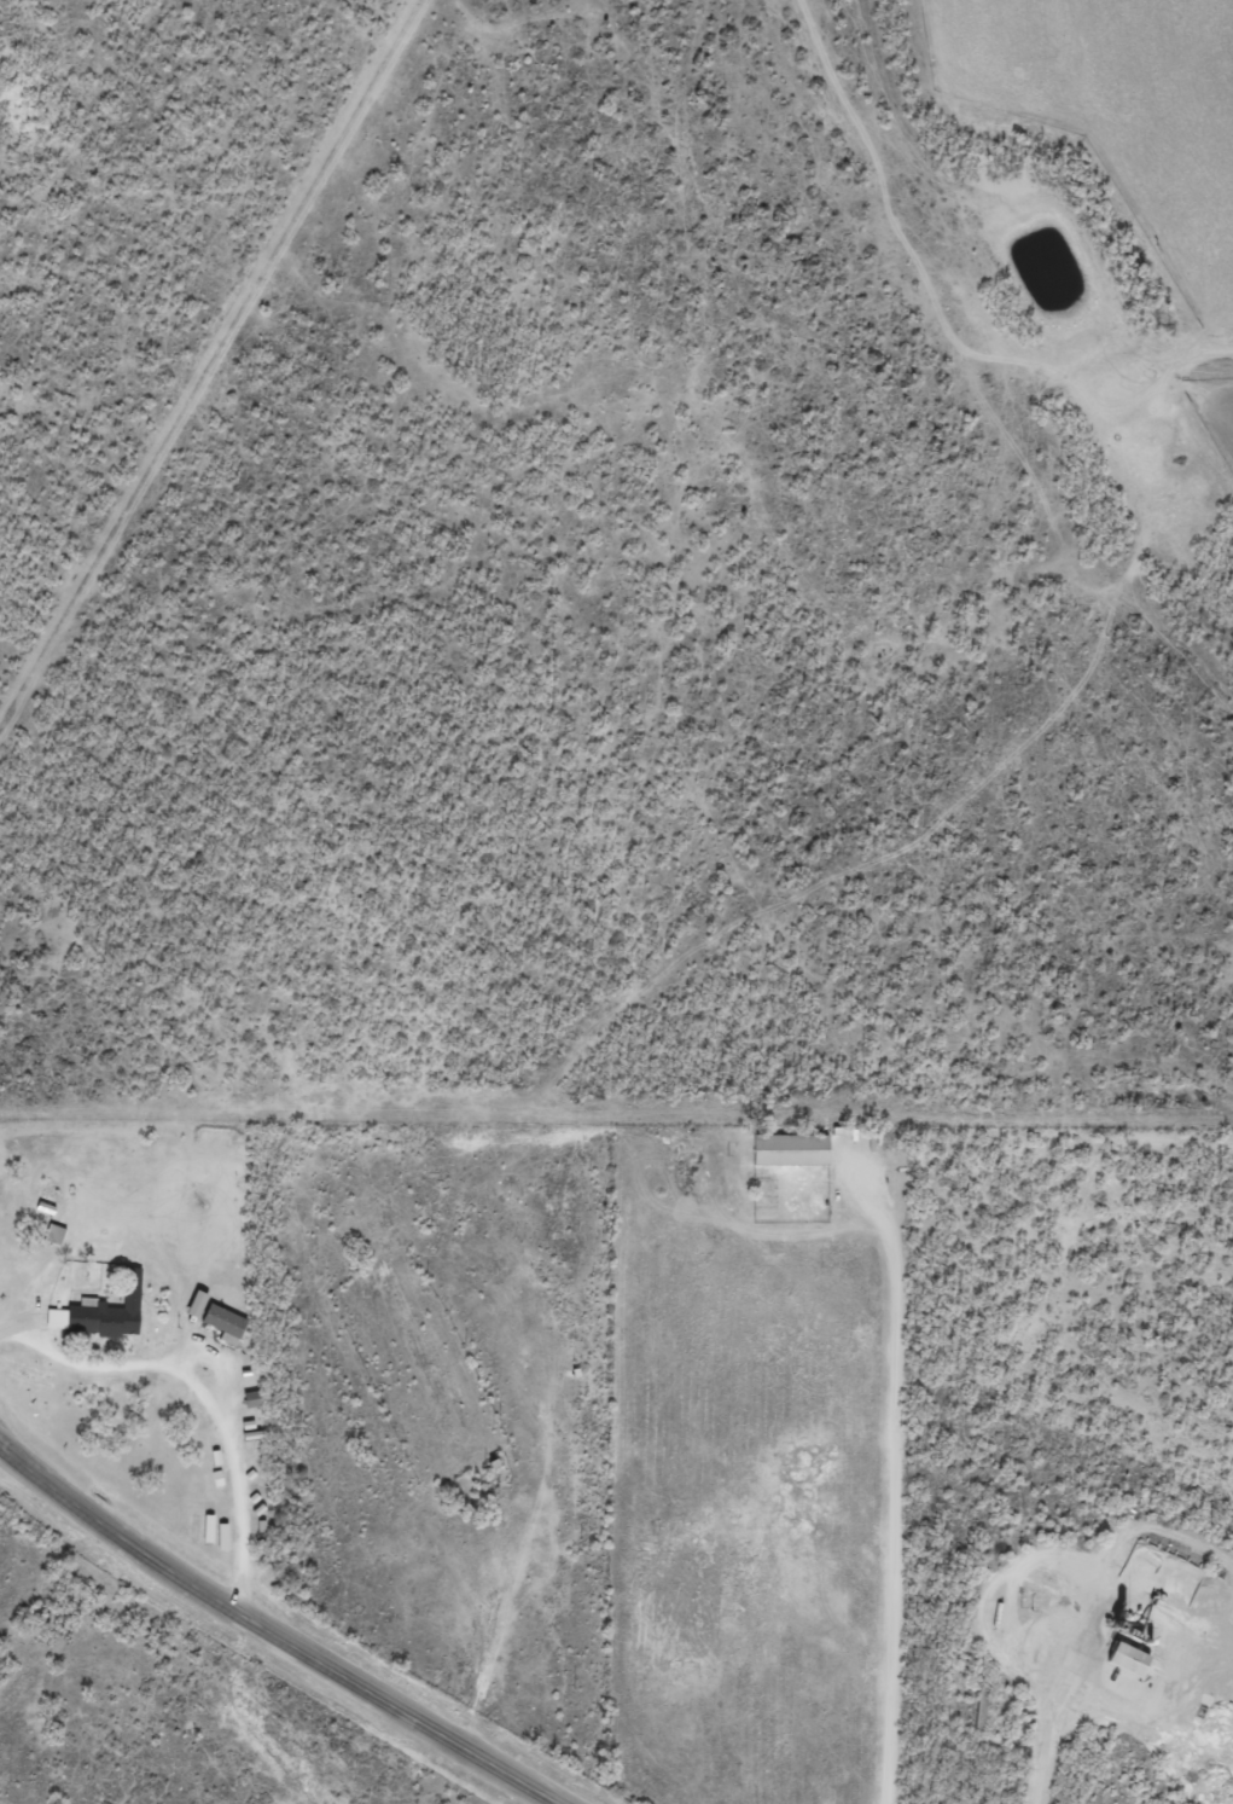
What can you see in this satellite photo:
building: (790, 1148)
building: (54, 1234)
building: (196, 1304)
building: (101, 1312)
building: (225, 1323)
road: (880, 1443)
road: (402, 1509)
building: (193, 1526)
building: (223, 1537)
road: (248, 1647)
building: (1127, 1658)

